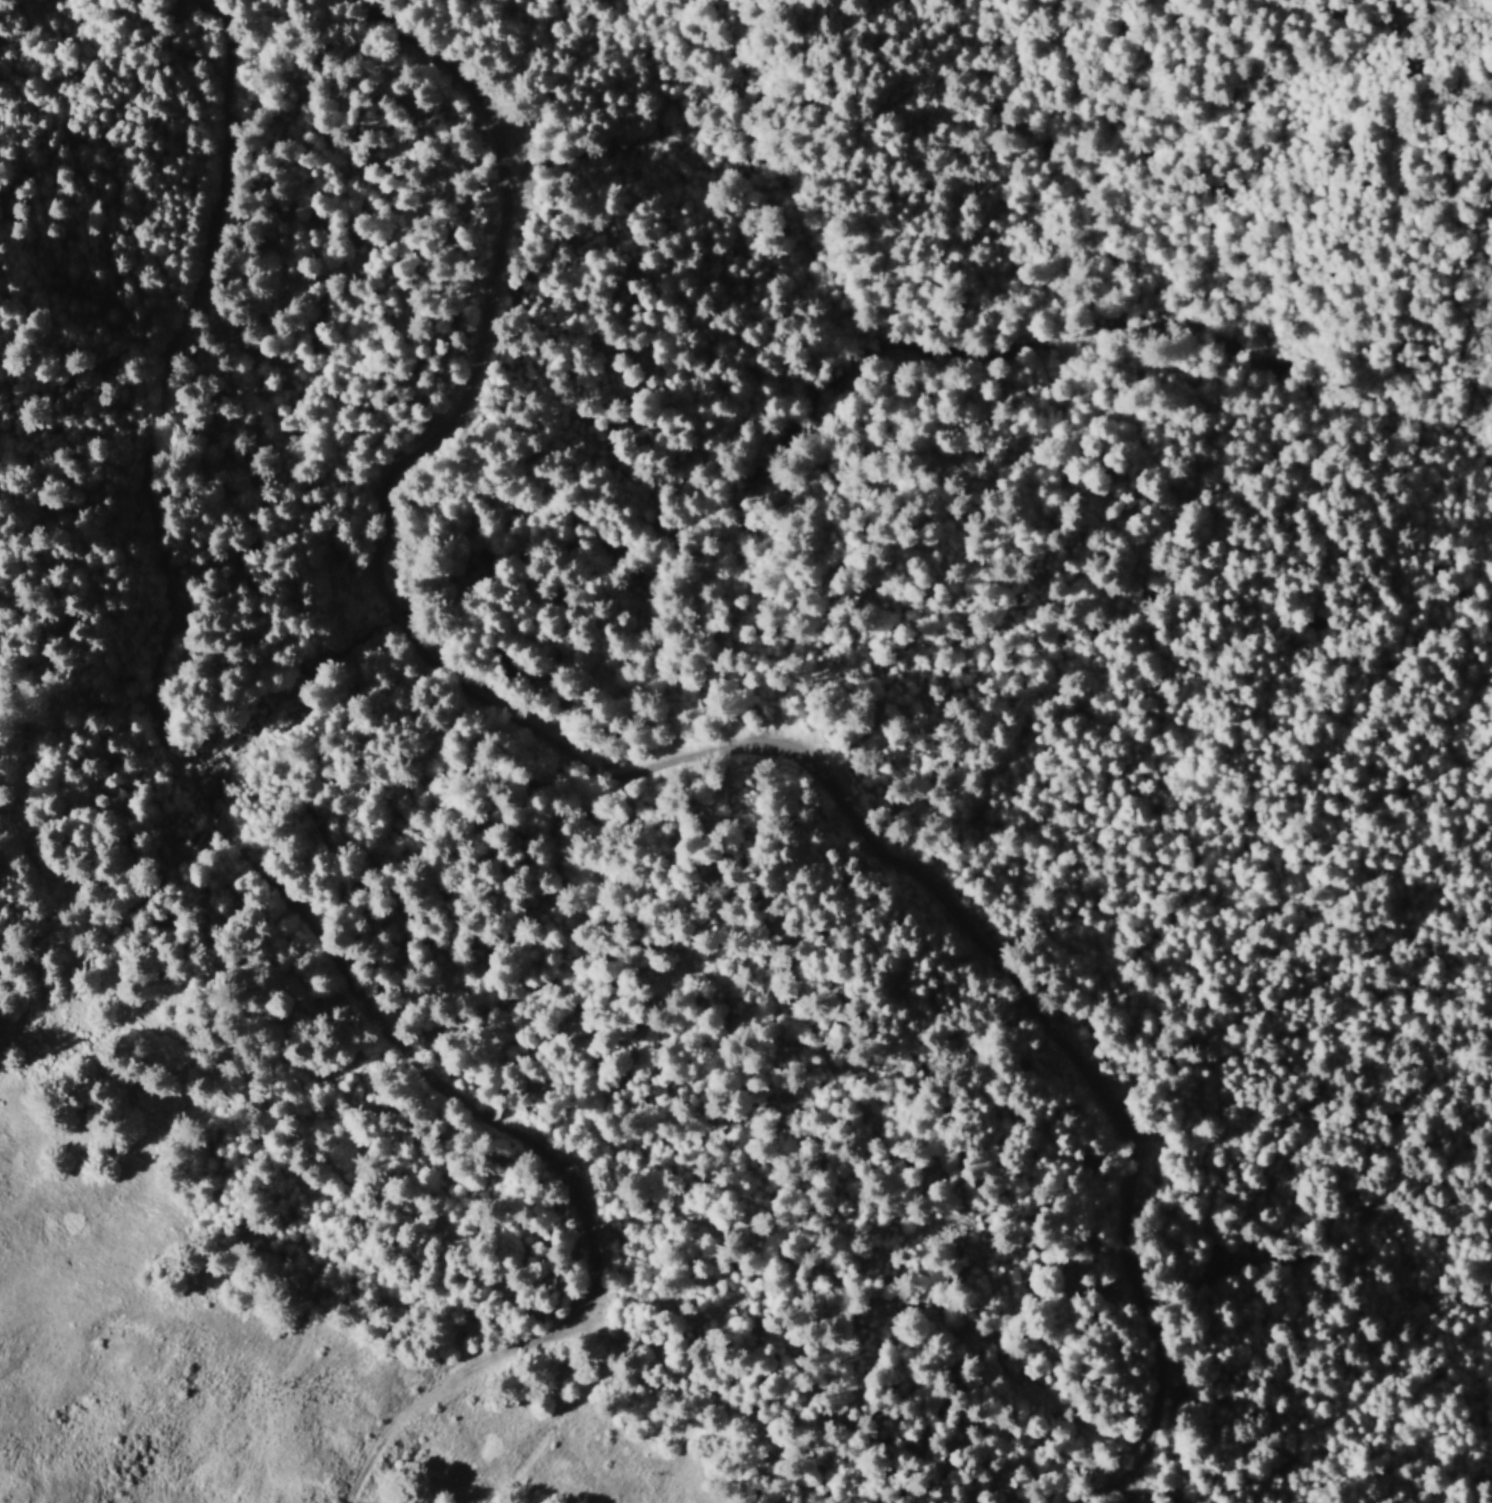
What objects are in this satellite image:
road: (236, 856)

